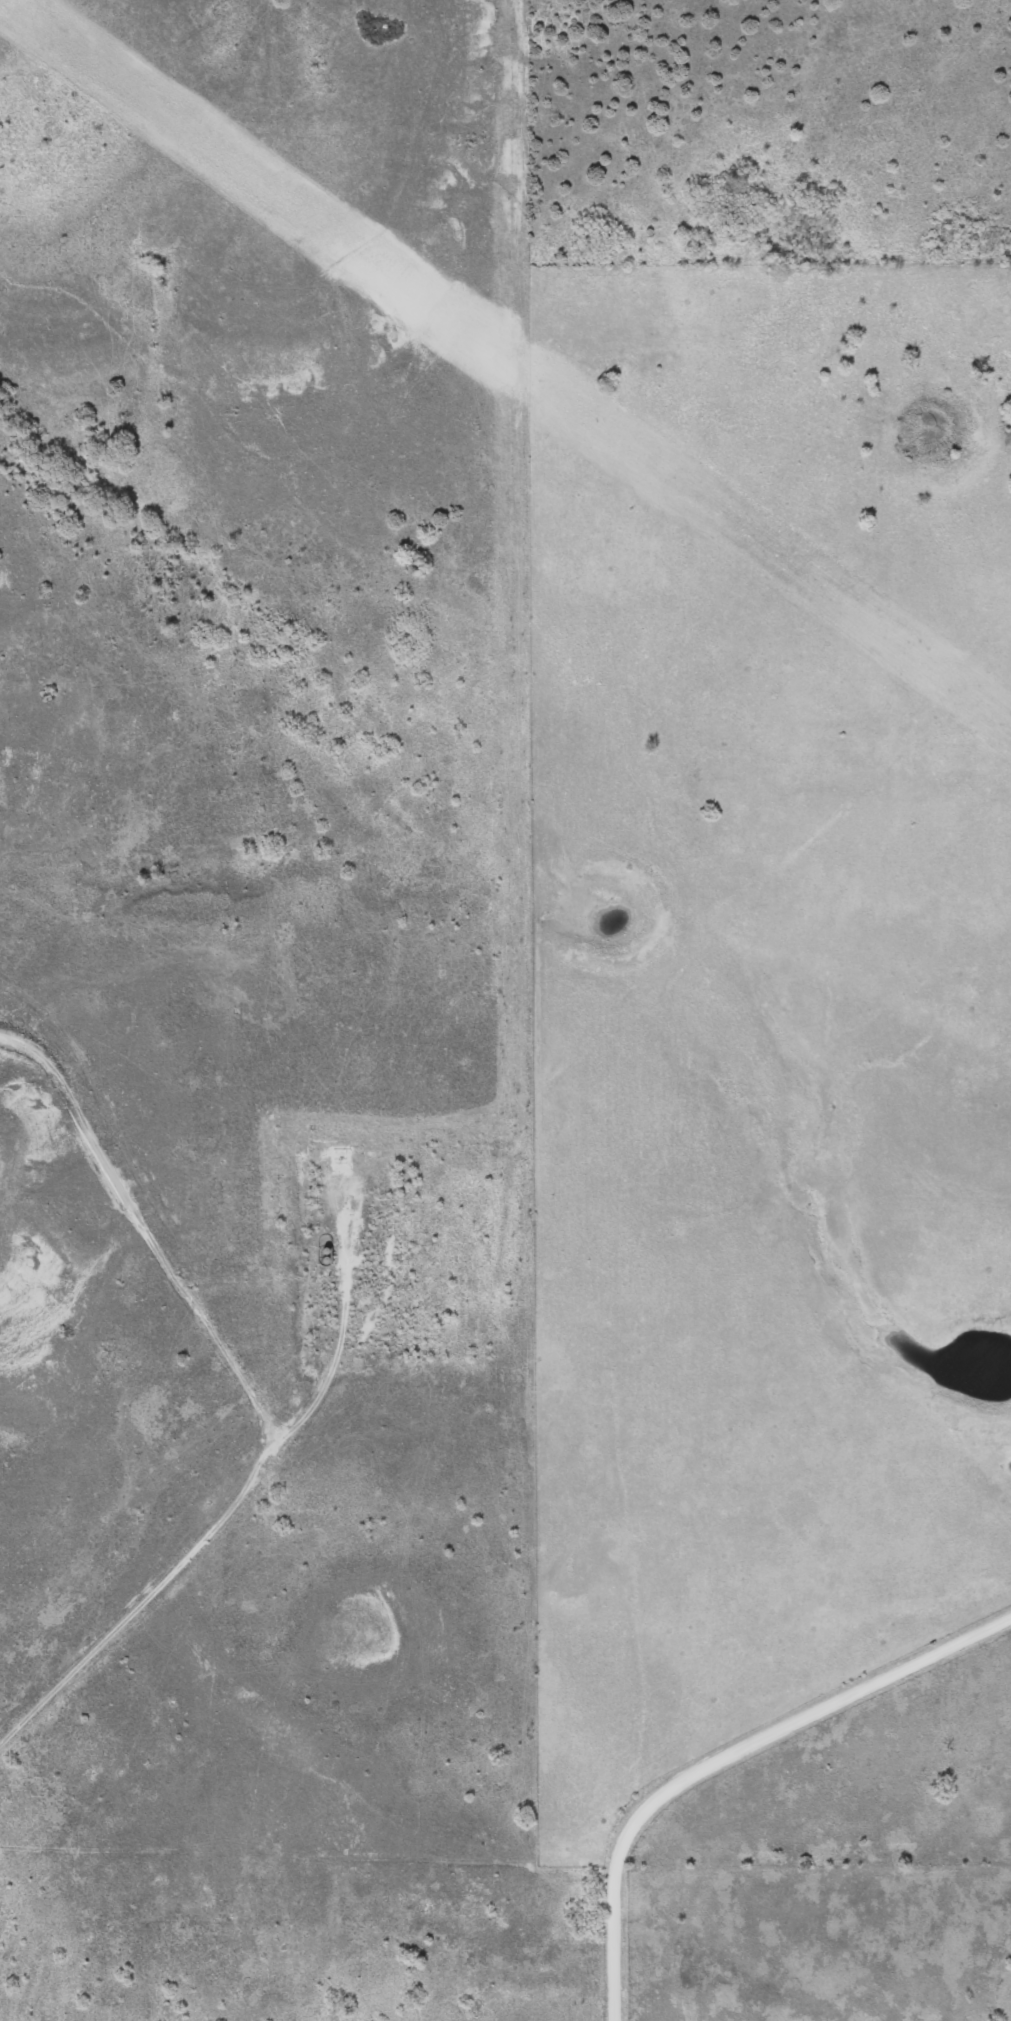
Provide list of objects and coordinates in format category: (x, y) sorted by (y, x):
road: (258, 1401)
road: (820, 1702)
road: (610, 1912)

